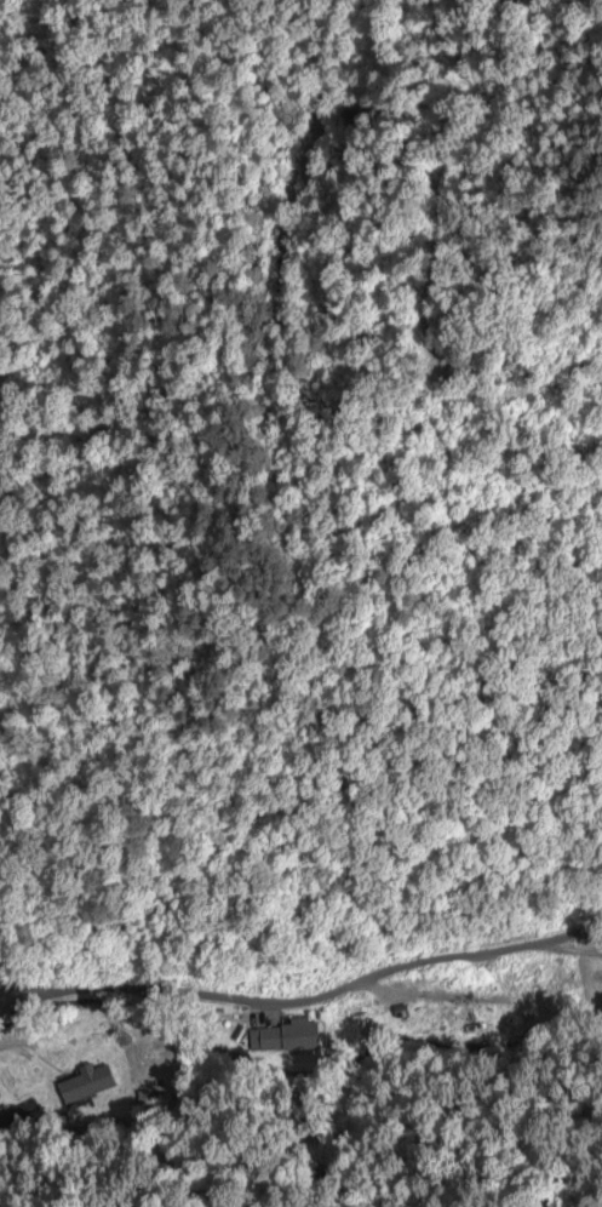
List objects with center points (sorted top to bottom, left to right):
road: (302, 1014)
building: (285, 1035)
building: (86, 1081)
building: (16, 1111)

